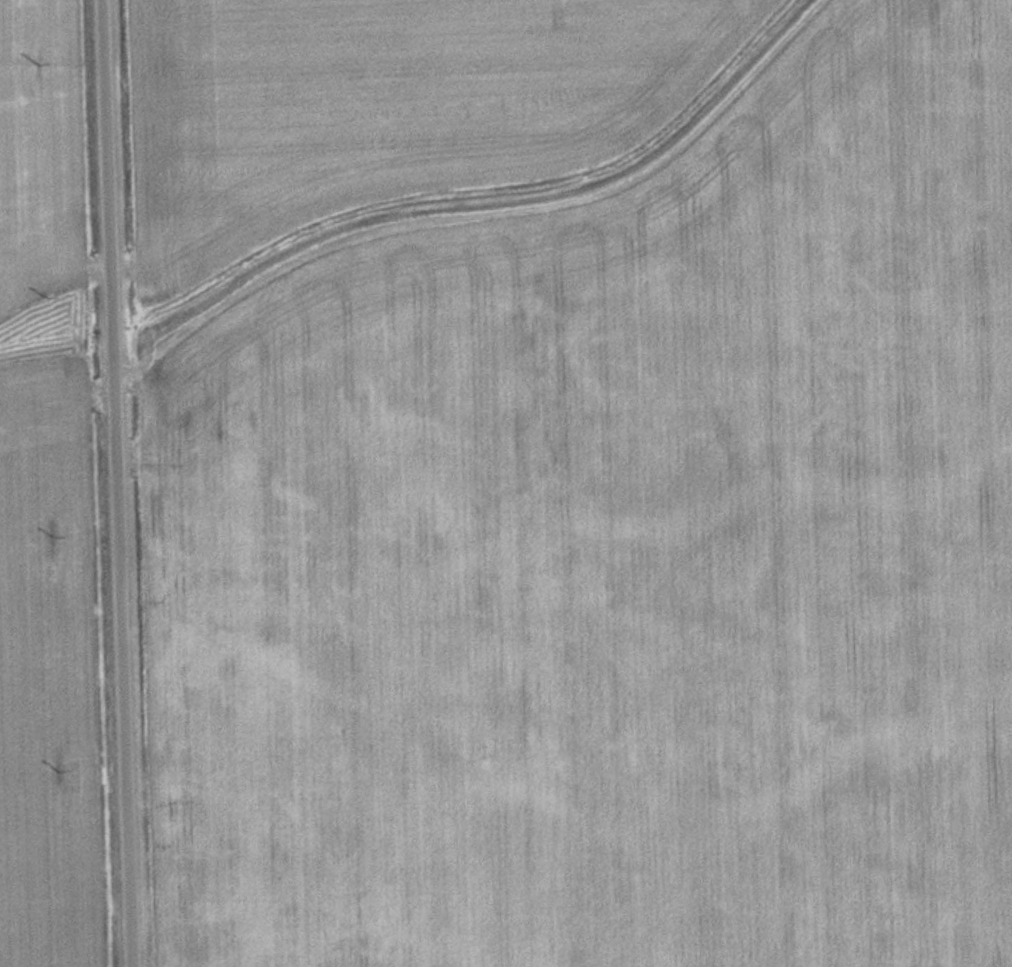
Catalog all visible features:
road: (118, 483)

